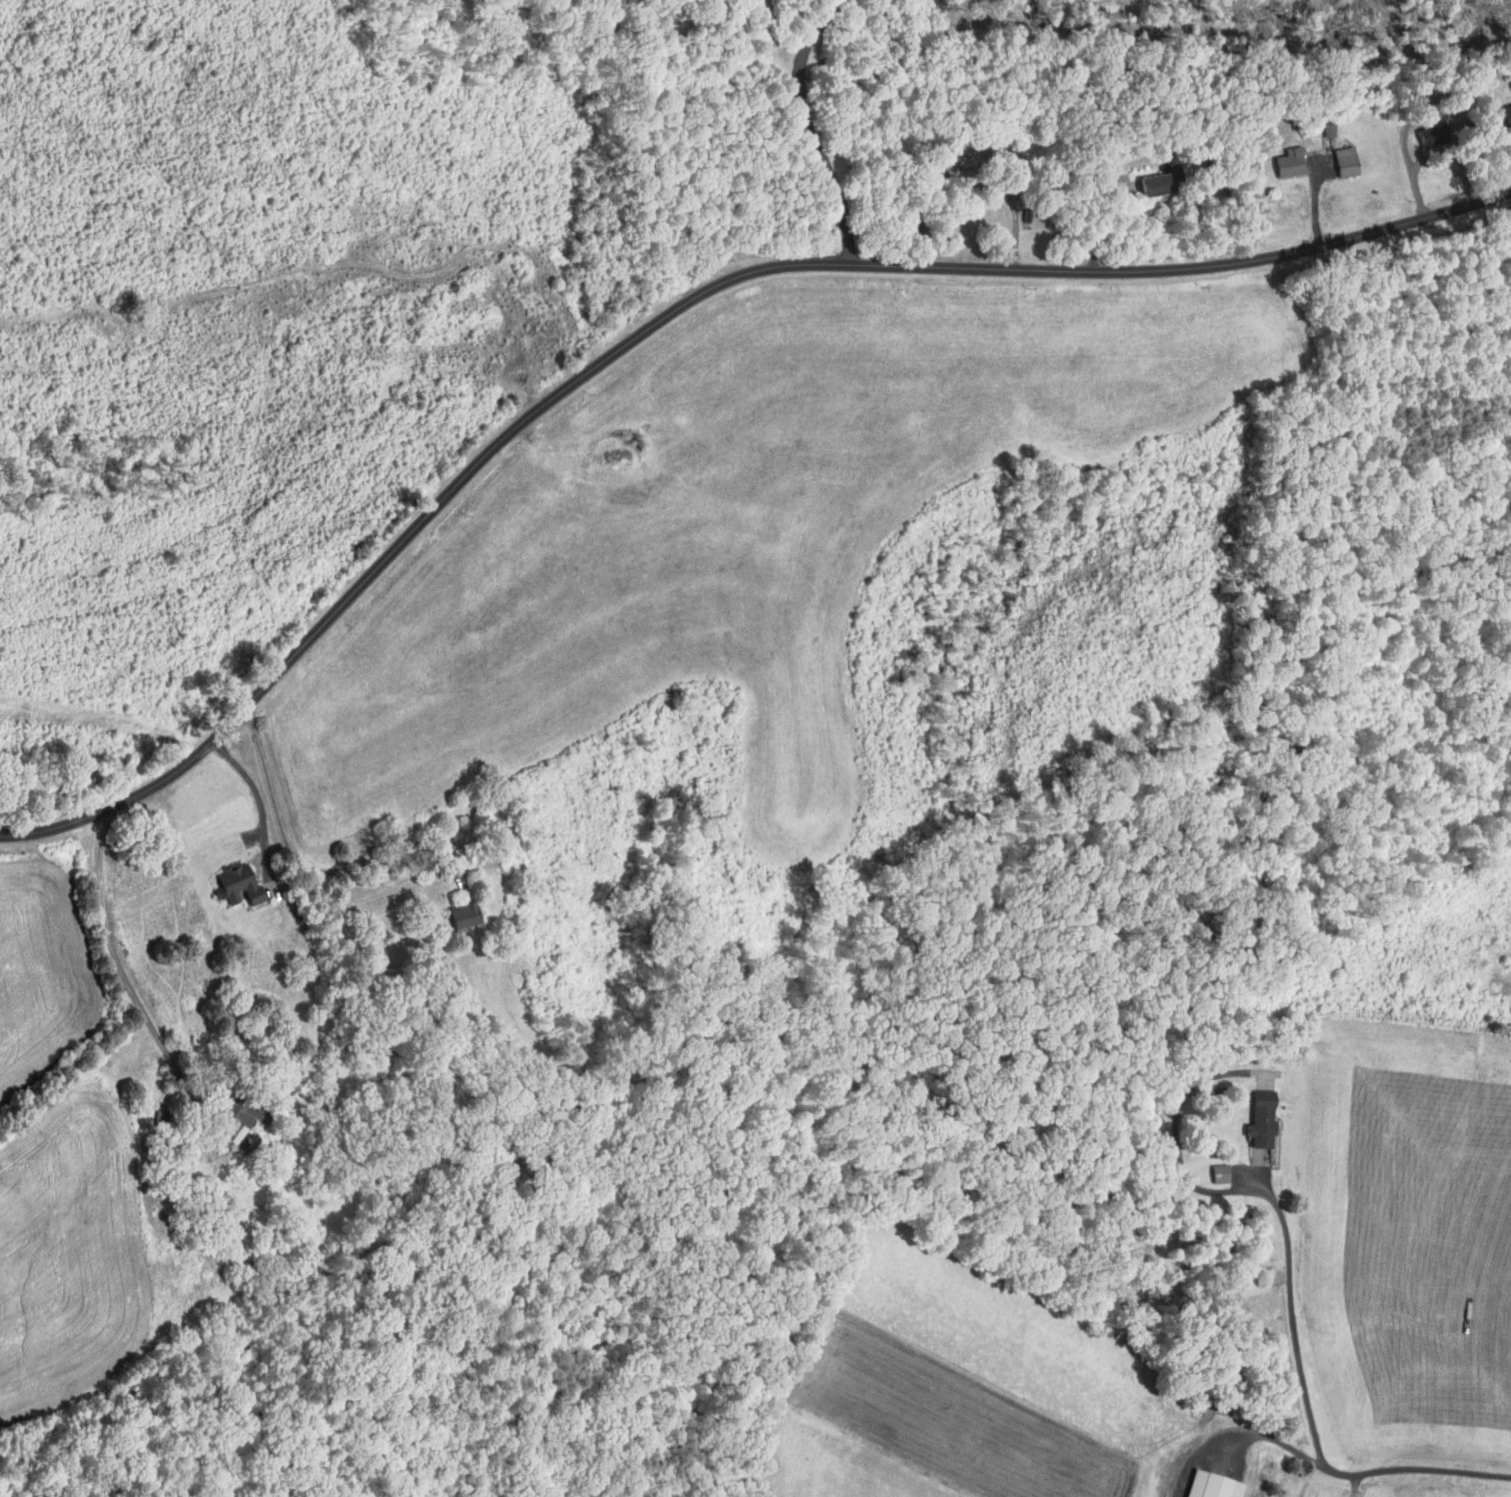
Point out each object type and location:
building: (1504, 115)
road: (813, 127)
building: (1341, 161)
building: (1285, 162)
road: (1446, 170)
building: (1161, 182)
road: (1313, 206)
road: (1239, 207)
road: (967, 215)
road: (669, 315)
road: (261, 806)
road: (325, 864)
building: (243, 884)
building: (463, 914)
road: (122, 969)
building: (245, 1120)
building: (1266, 1121)
building: (1222, 1172)
road: (1293, 1288)
road: (1247, 1435)
building: (1218, 1484)

